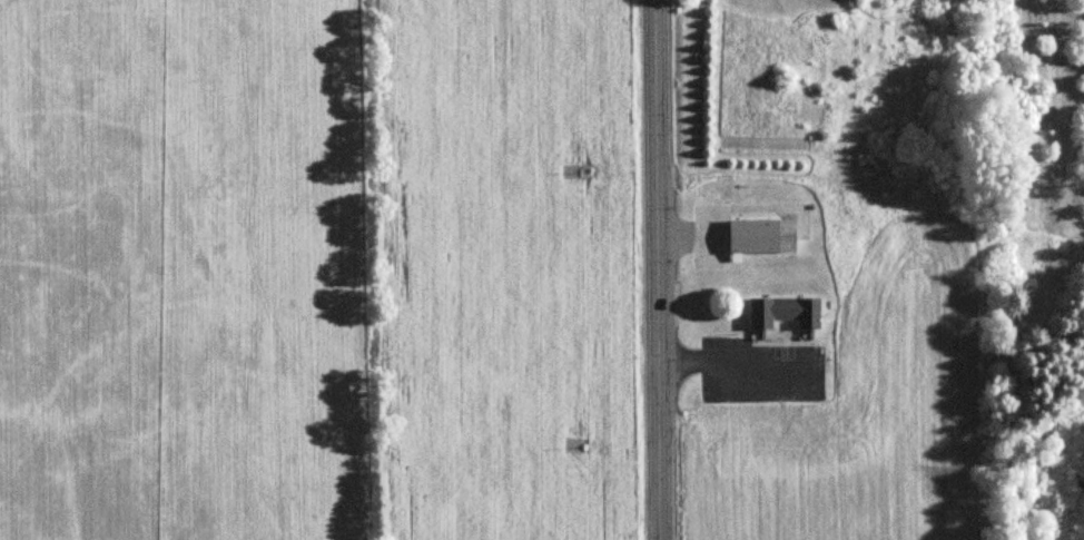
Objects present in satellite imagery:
building: (761, 236)
road: (658, 269)
building: (782, 312)

